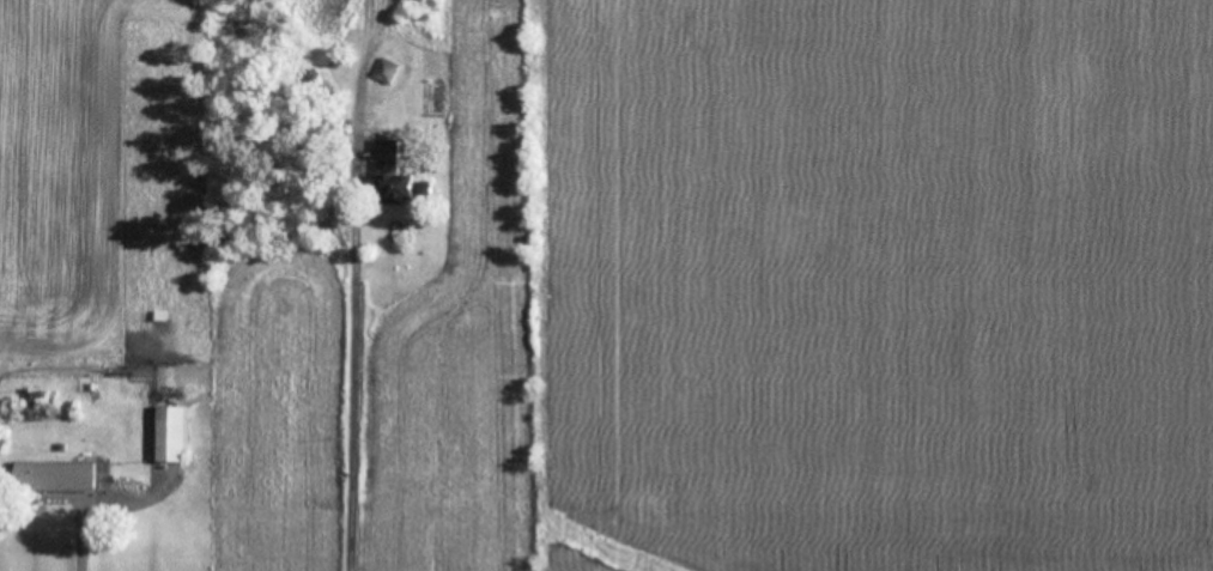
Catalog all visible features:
building: (396, 178)
road: (351, 283)
building: (166, 437)
building: (53, 479)
road: (80, 534)

